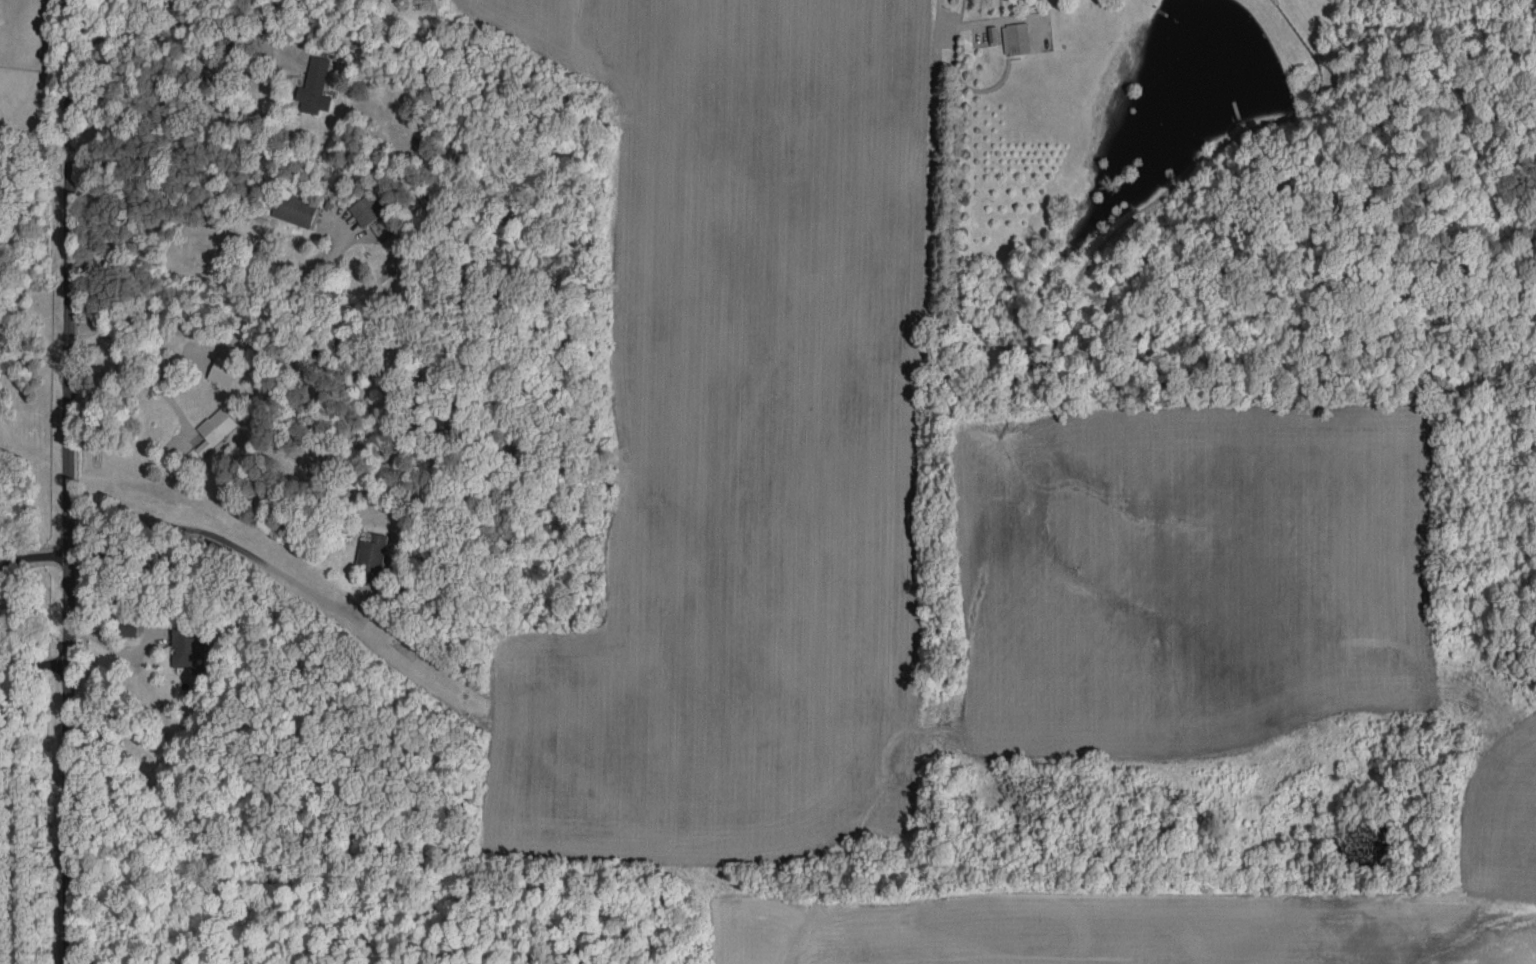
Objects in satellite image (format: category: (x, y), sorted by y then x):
road: (950, 19)
building: (1015, 38)
building: (315, 86)
road: (181, 88)
building: (294, 209)
building: (365, 211)
road: (188, 223)
building: (223, 369)
road: (141, 383)
building: (214, 429)
road: (68, 481)
building: (372, 552)
road: (33, 556)
building: (128, 627)
building: (184, 644)
road: (114, 648)
road: (32, 661)

